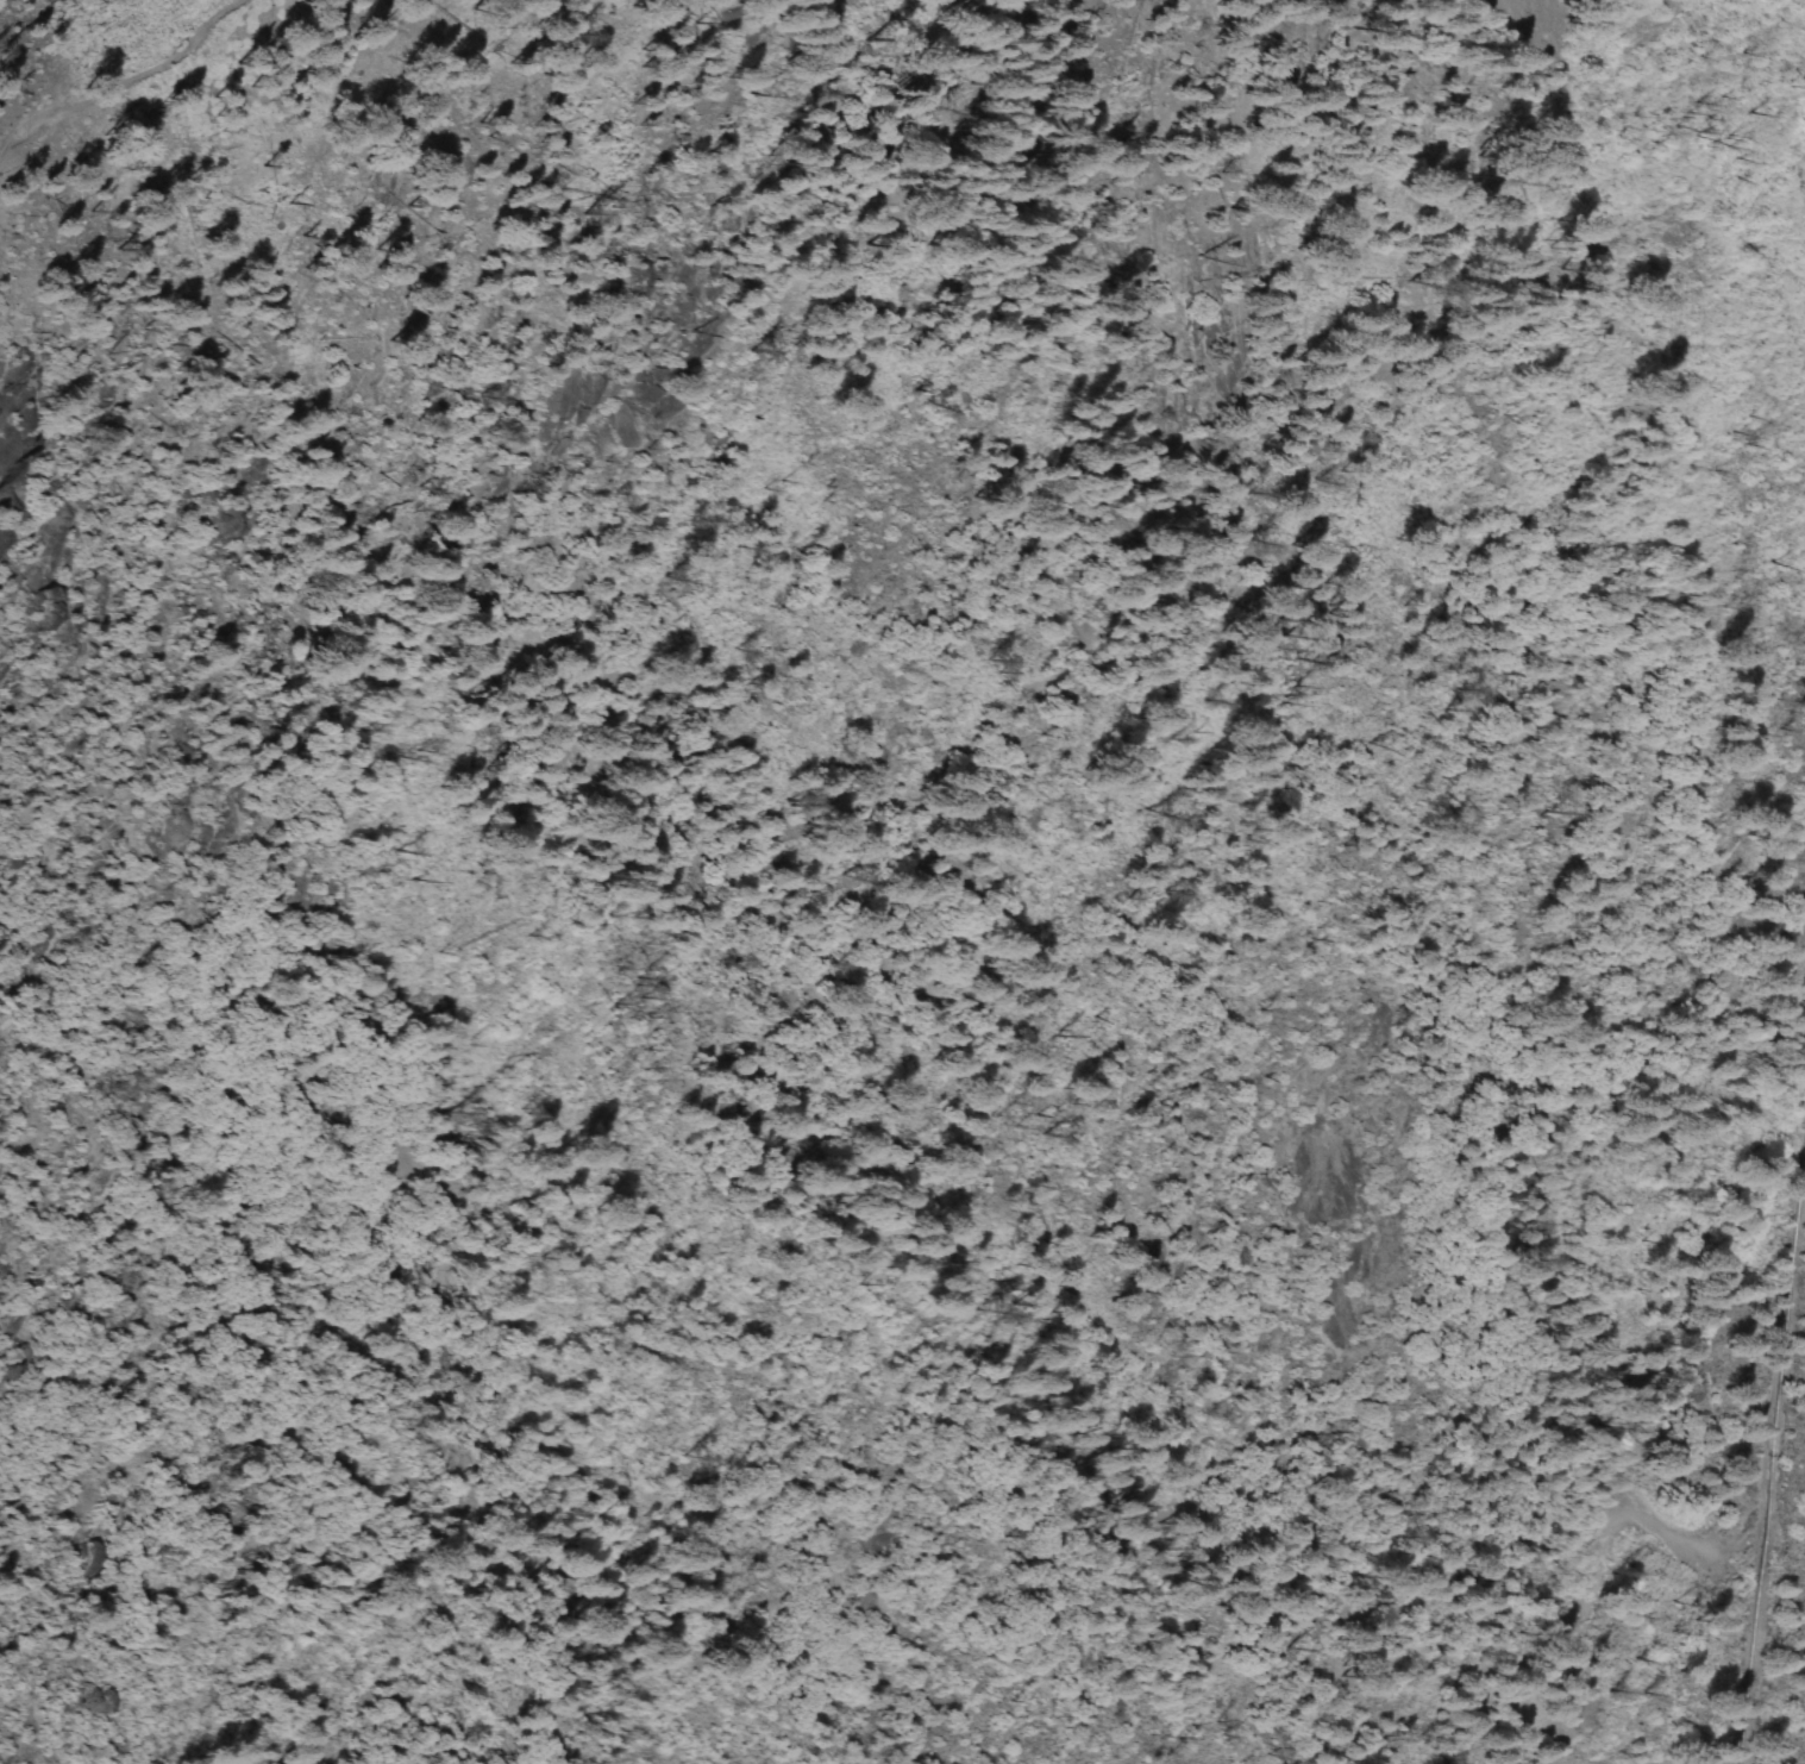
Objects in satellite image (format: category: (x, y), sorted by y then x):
road: (136, 73)

